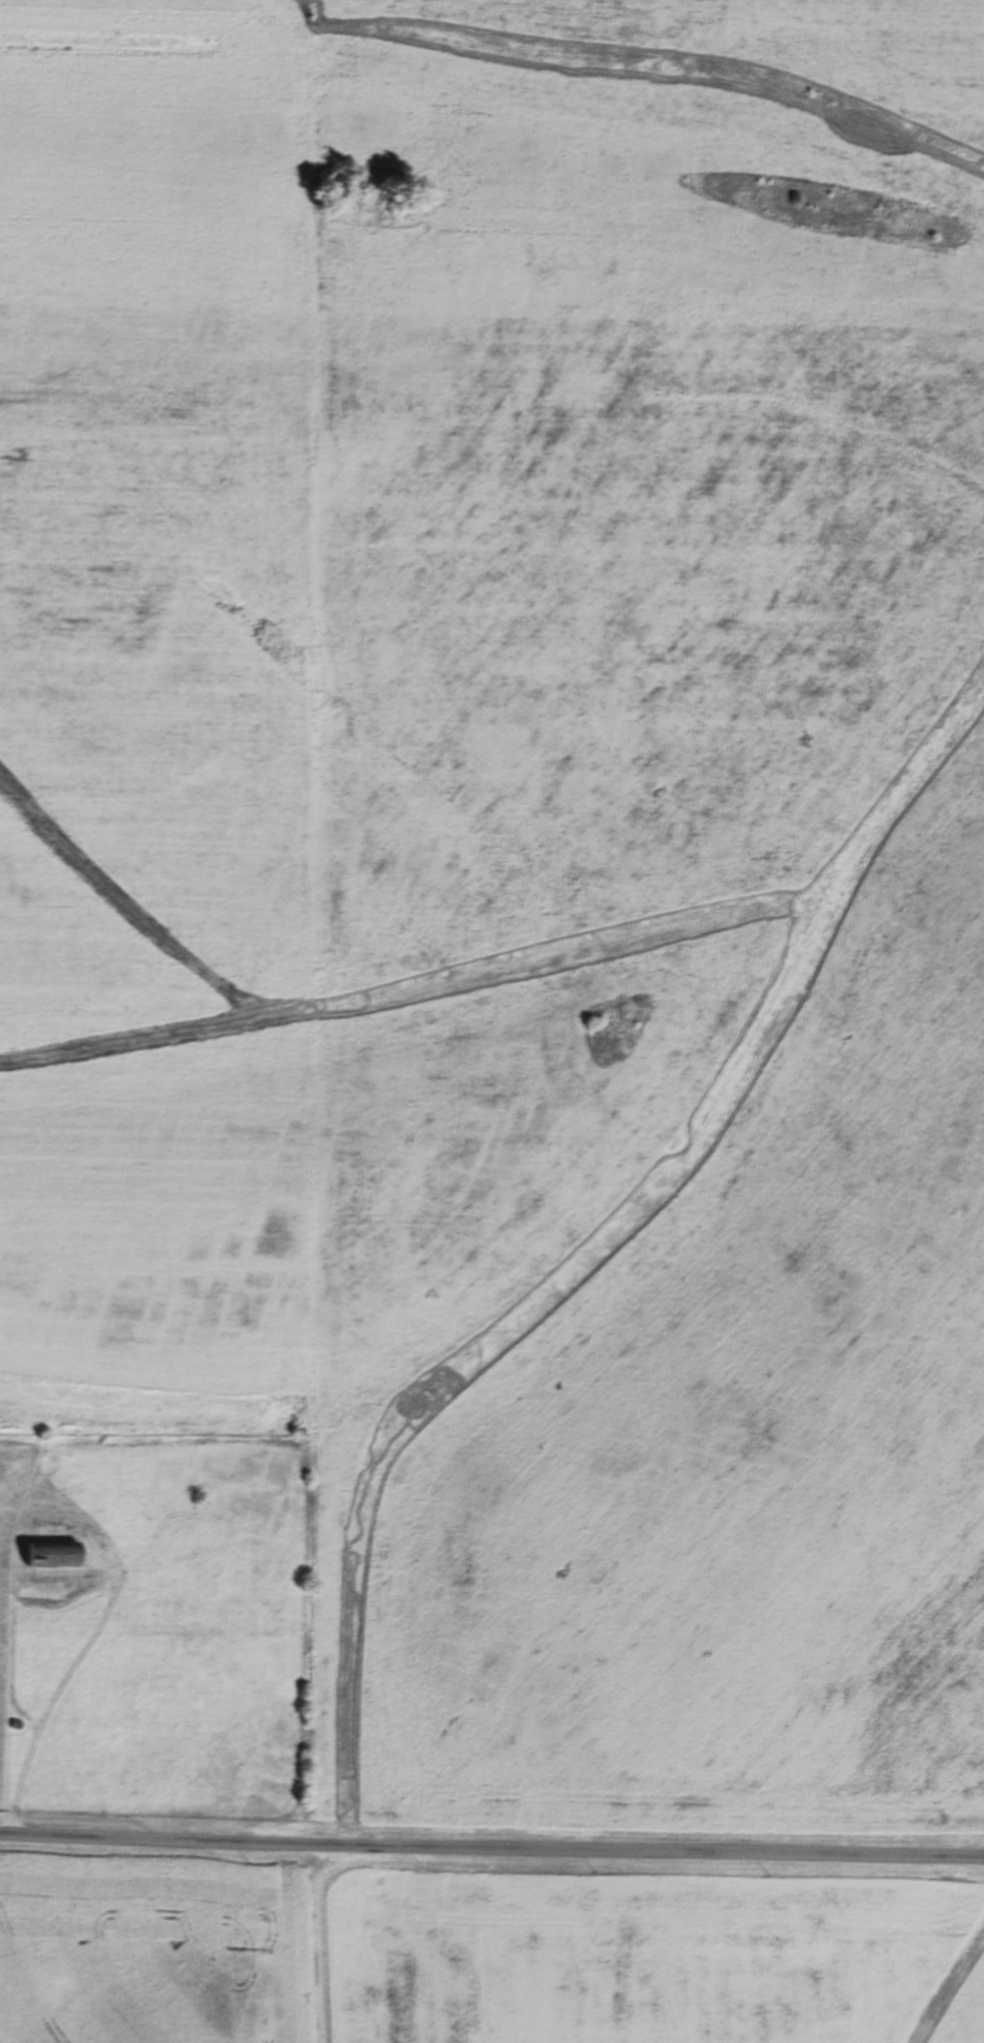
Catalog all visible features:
road: (491, 1841)

